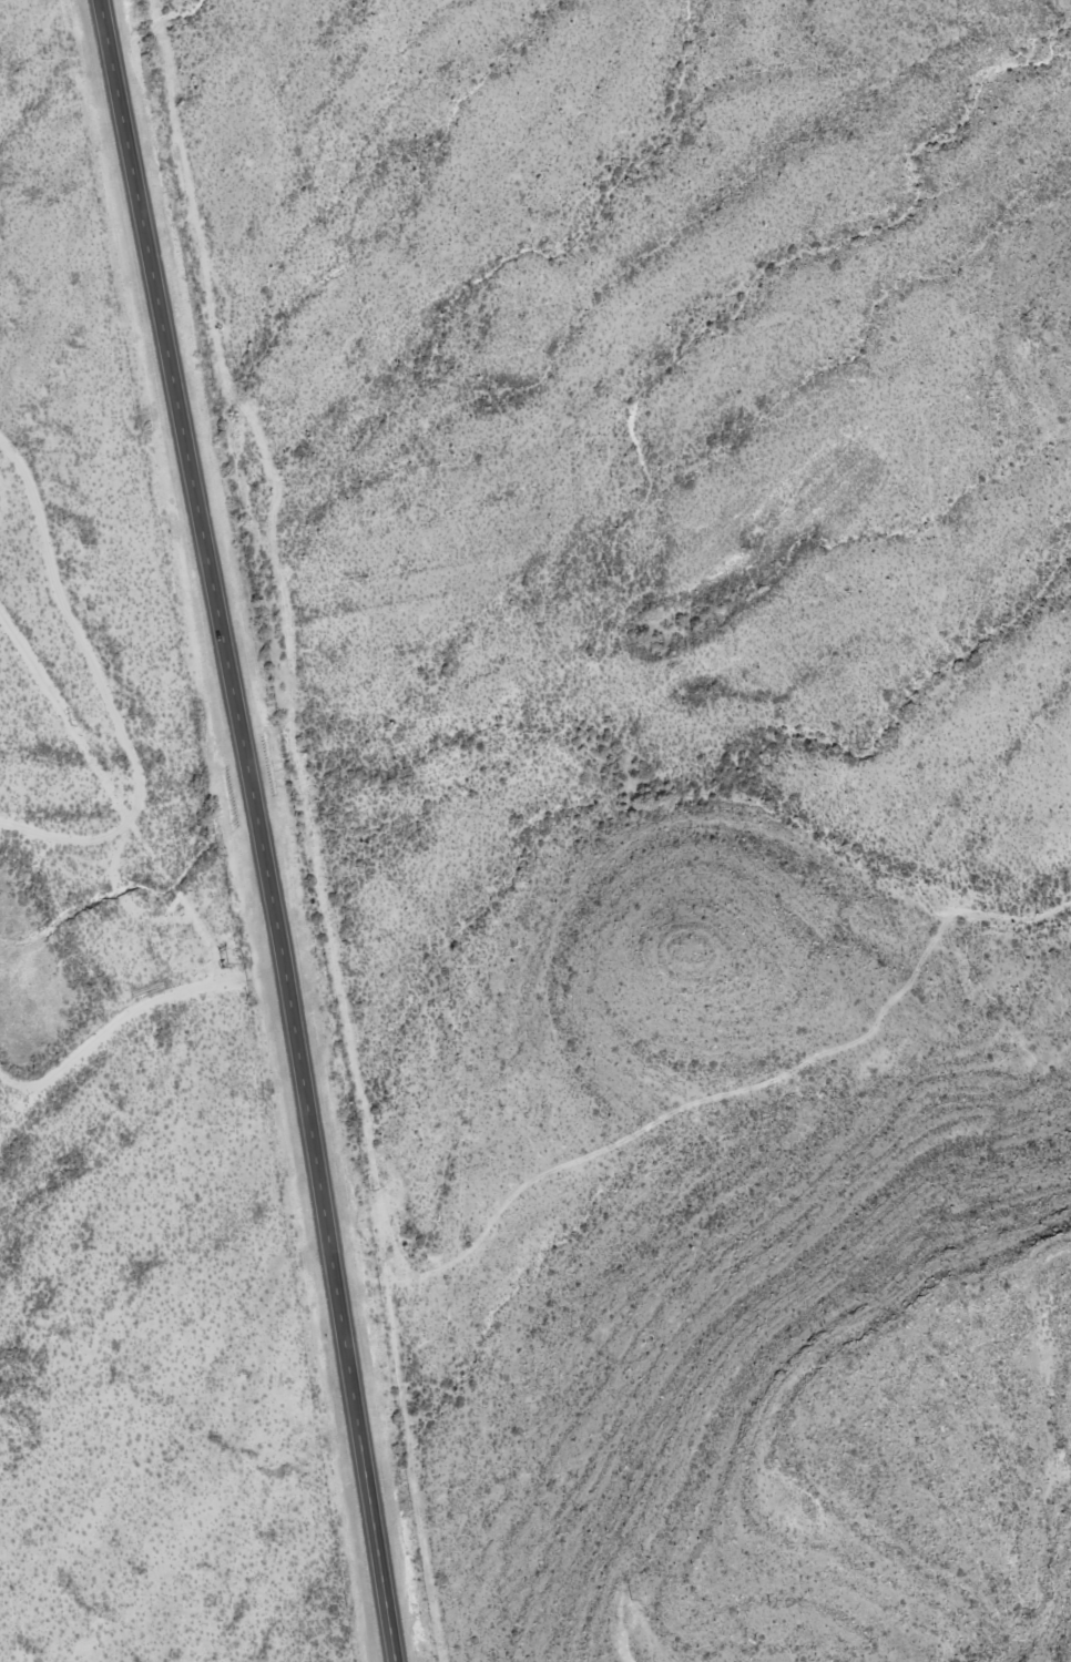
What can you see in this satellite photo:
road: (3, 500)
road: (100, 691)
road: (62, 704)
road: (258, 829)
road: (129, 1012)

